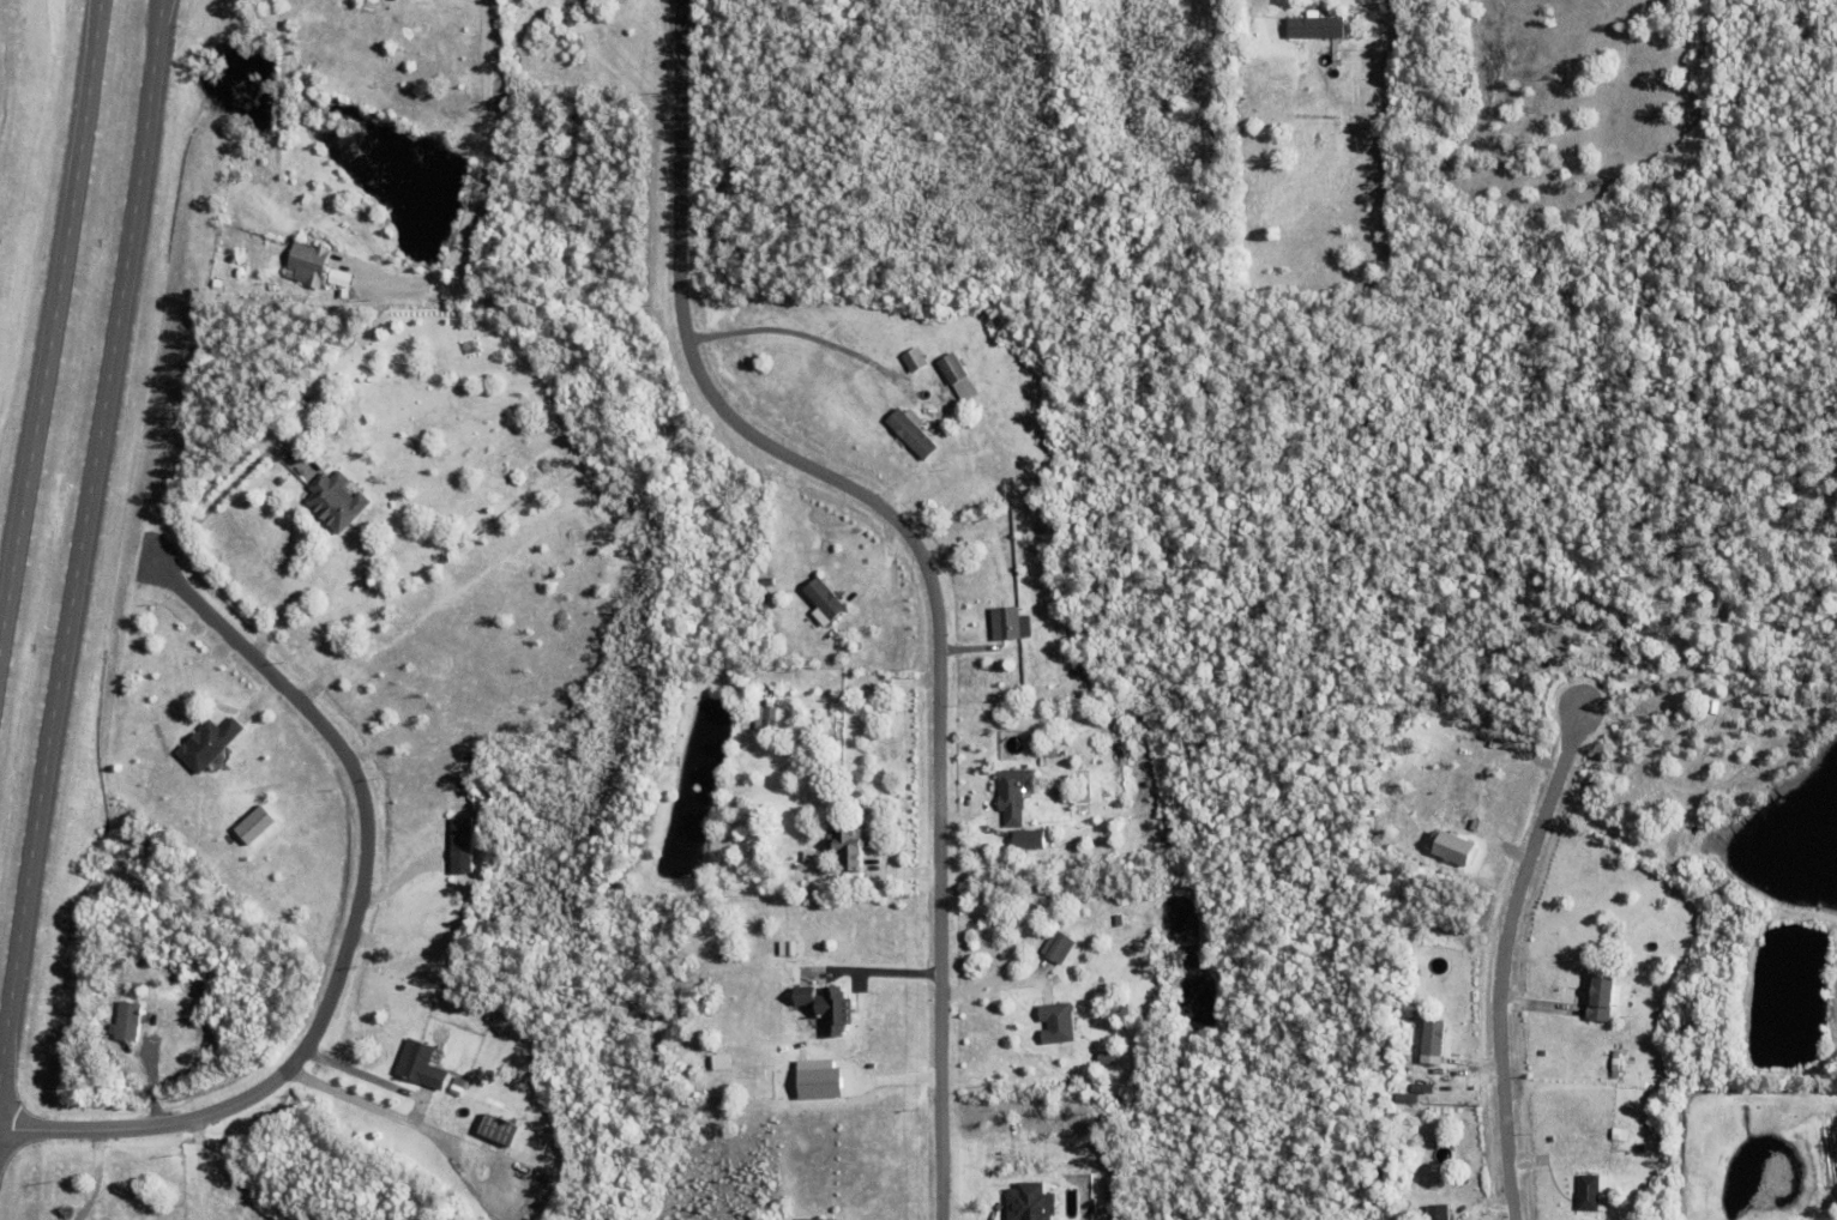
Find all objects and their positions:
building: (1317, 31)
road: (470, 182)
building: (308, 267)
building: (342, 278)
road: (790, 332)
road: (53, 342)
building: (908, 344)
building: (914, 358)
building: (952, 366)
building: (941, 428)
building: (911, 429)
building: (279, 479)
road: (227, 488)
building: (335, 499)
road: (918, 552)
road: (83, 554)
building: (800, 569)
building: (767, 581)
building: (825, 597)
building: (765, 603)
building: (1005, 621)
building: (838, 635)
building: (770, 717)
building: (209, 741)
building: (1012, 793)
building: (248, 825)
building: (1023, 838)
building: (847, 839)
building: (462, 845)
building: (1447, 848)
road: (347, 936)
building: (1055, 947)
road: (1504, 949)
road: (875, 973)
building: (138, 985)
building: (1601, 997)
building: (827, 1008)
building: (128, 1020)
building: (1058, 1021)
building: (1432, 1037)
building: (1108, 1058)
building: (420, 1064)
building: (457, 1086)
building: (1405, 1087)
building: (1419, 1088)
building: (490, 1129)
building: (1616, 1134)
road: (198, 1168)
road: (94, 1177)
building: (1459, 1180)
building: (1589, 1192)
building: (1437, 1196)
building: (1438, 1212)
building: (818, 1219)

